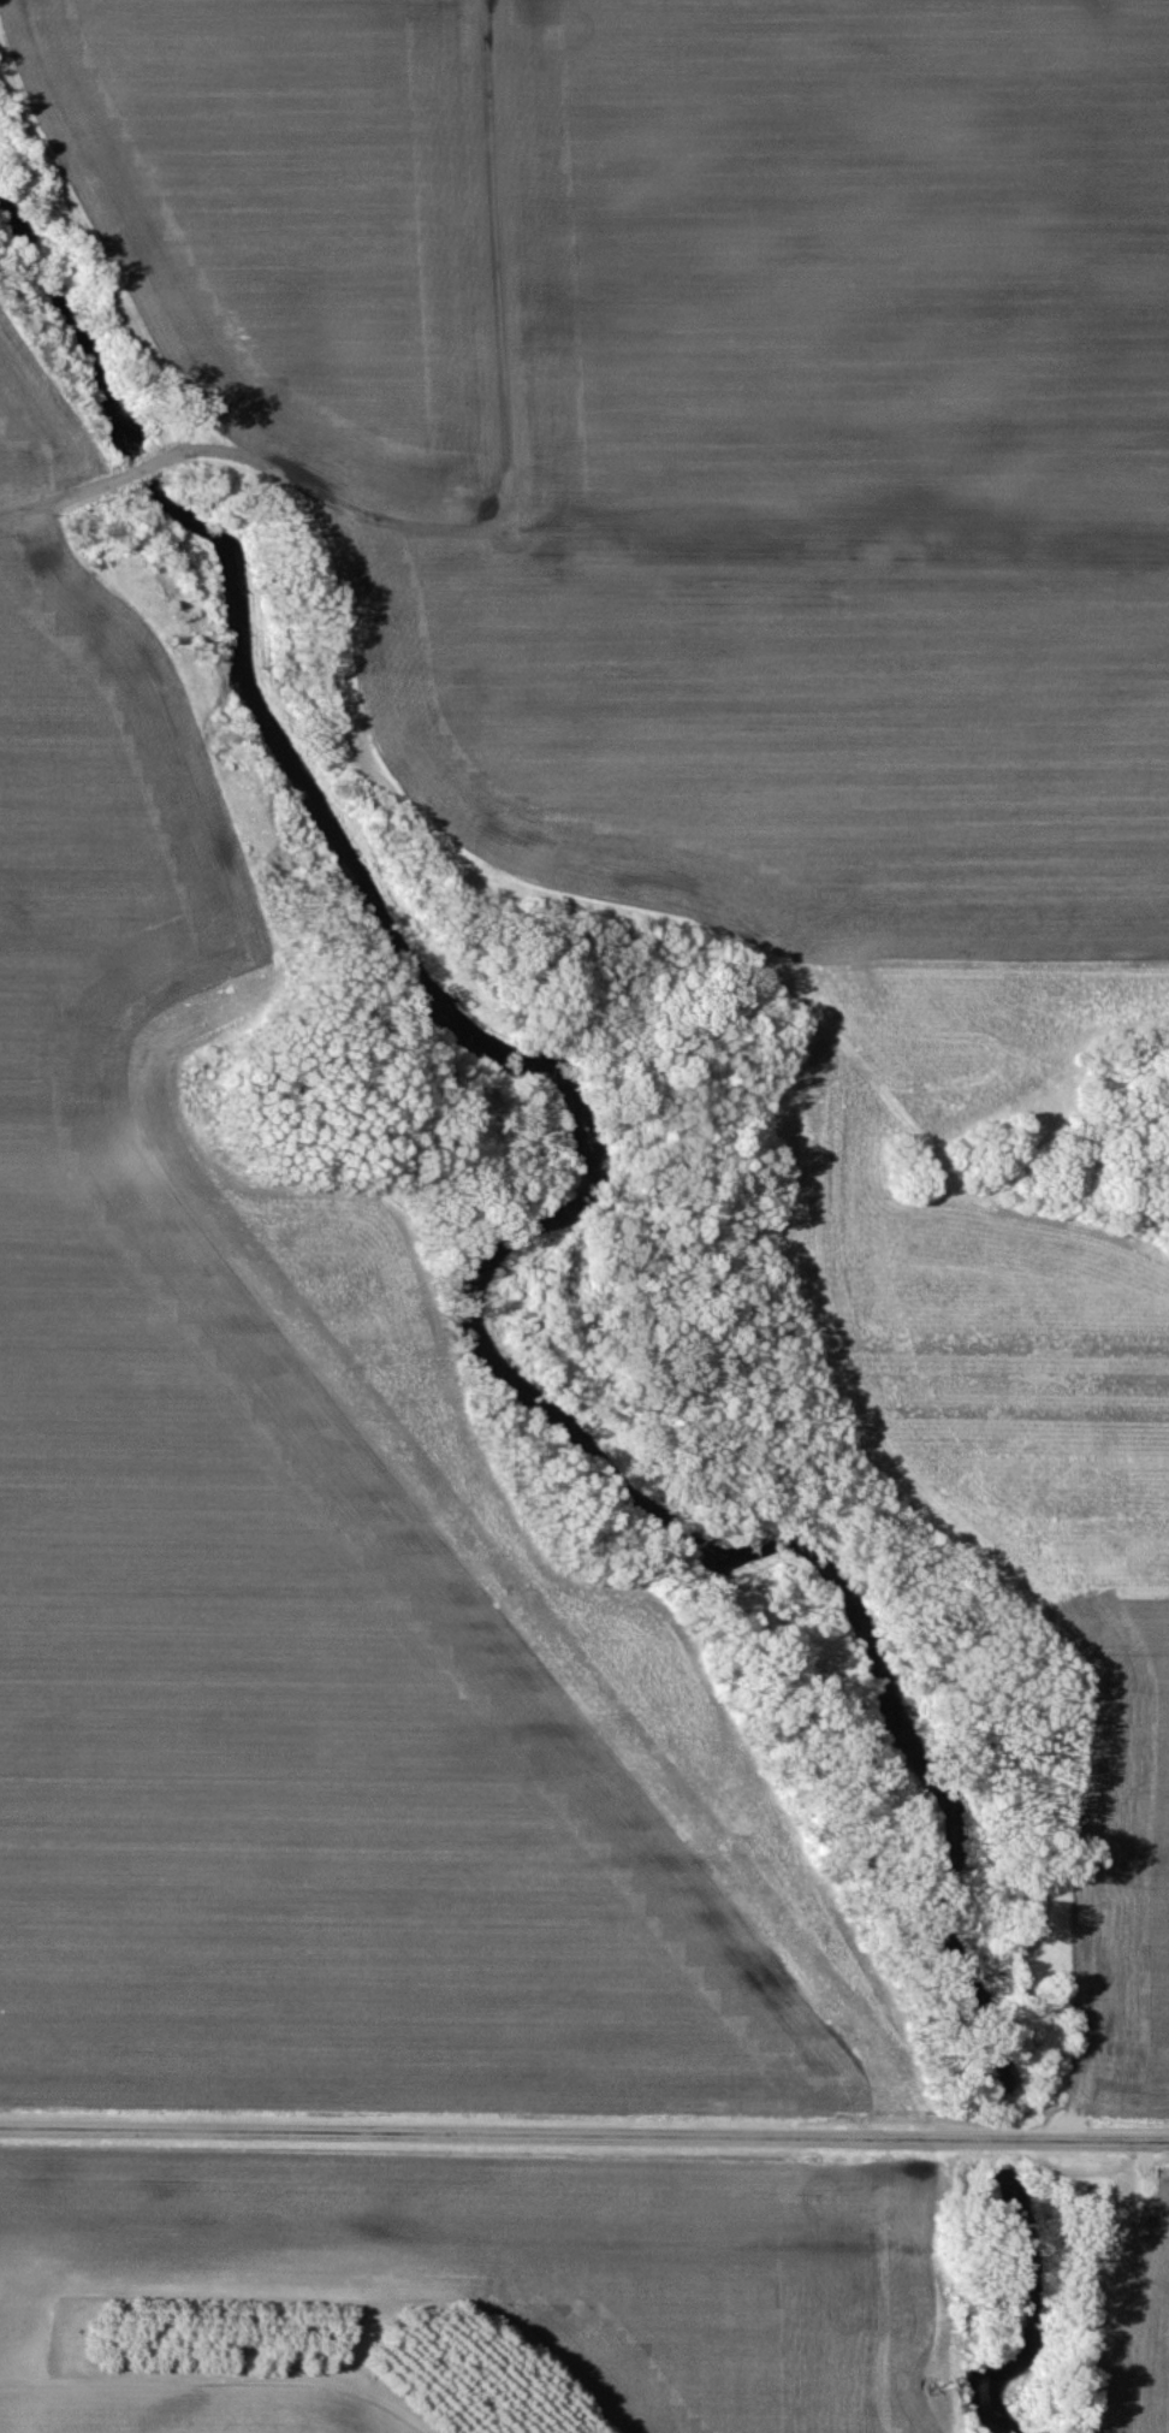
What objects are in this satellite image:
road: (584, 2138)

